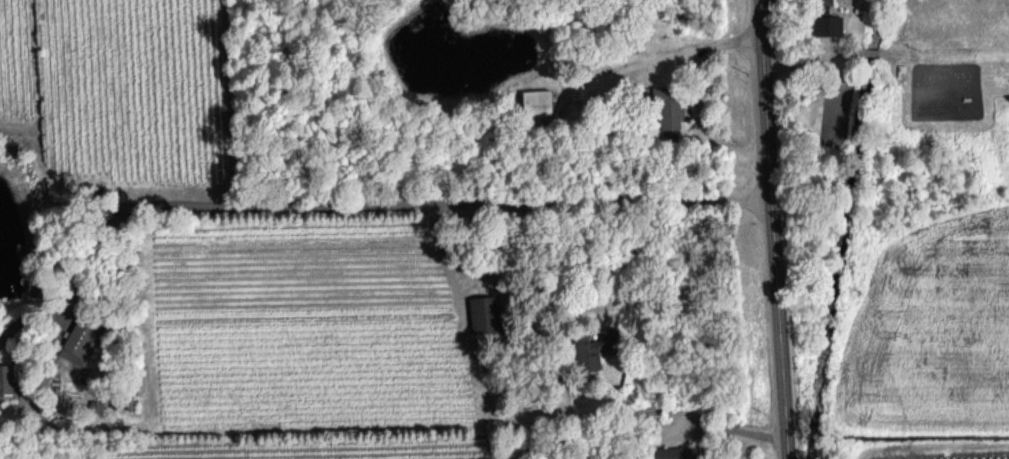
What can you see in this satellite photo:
building: (830, 25)
road: (871, 52)
road: (652, 53)
road: (811, 56)
road: (944, 59)
building: (539, 102)
building: (675, 119)
road: (356, 204)
road: (773, 229)
building: (485, 315)
building: (77, 341)
building: (594, 345)
building: (6, 380)
road: (733, 427)

